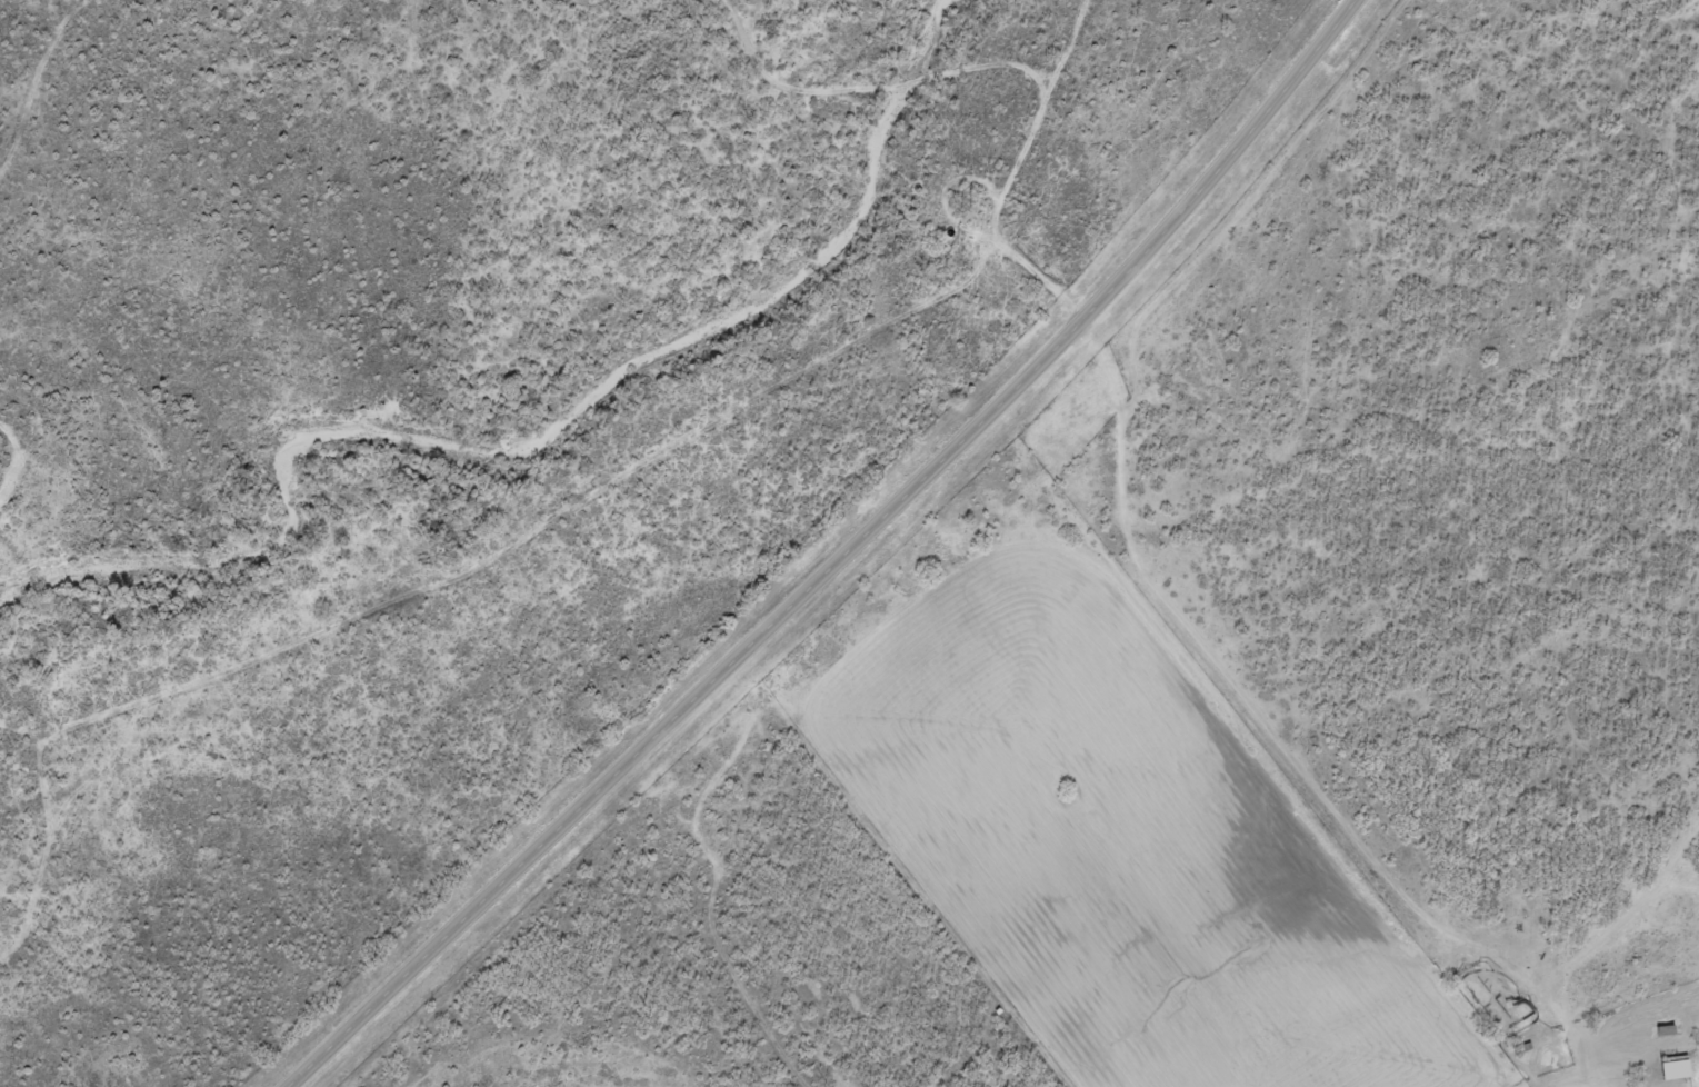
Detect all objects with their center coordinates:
road: (840, 559)
road: (1267, 728)

